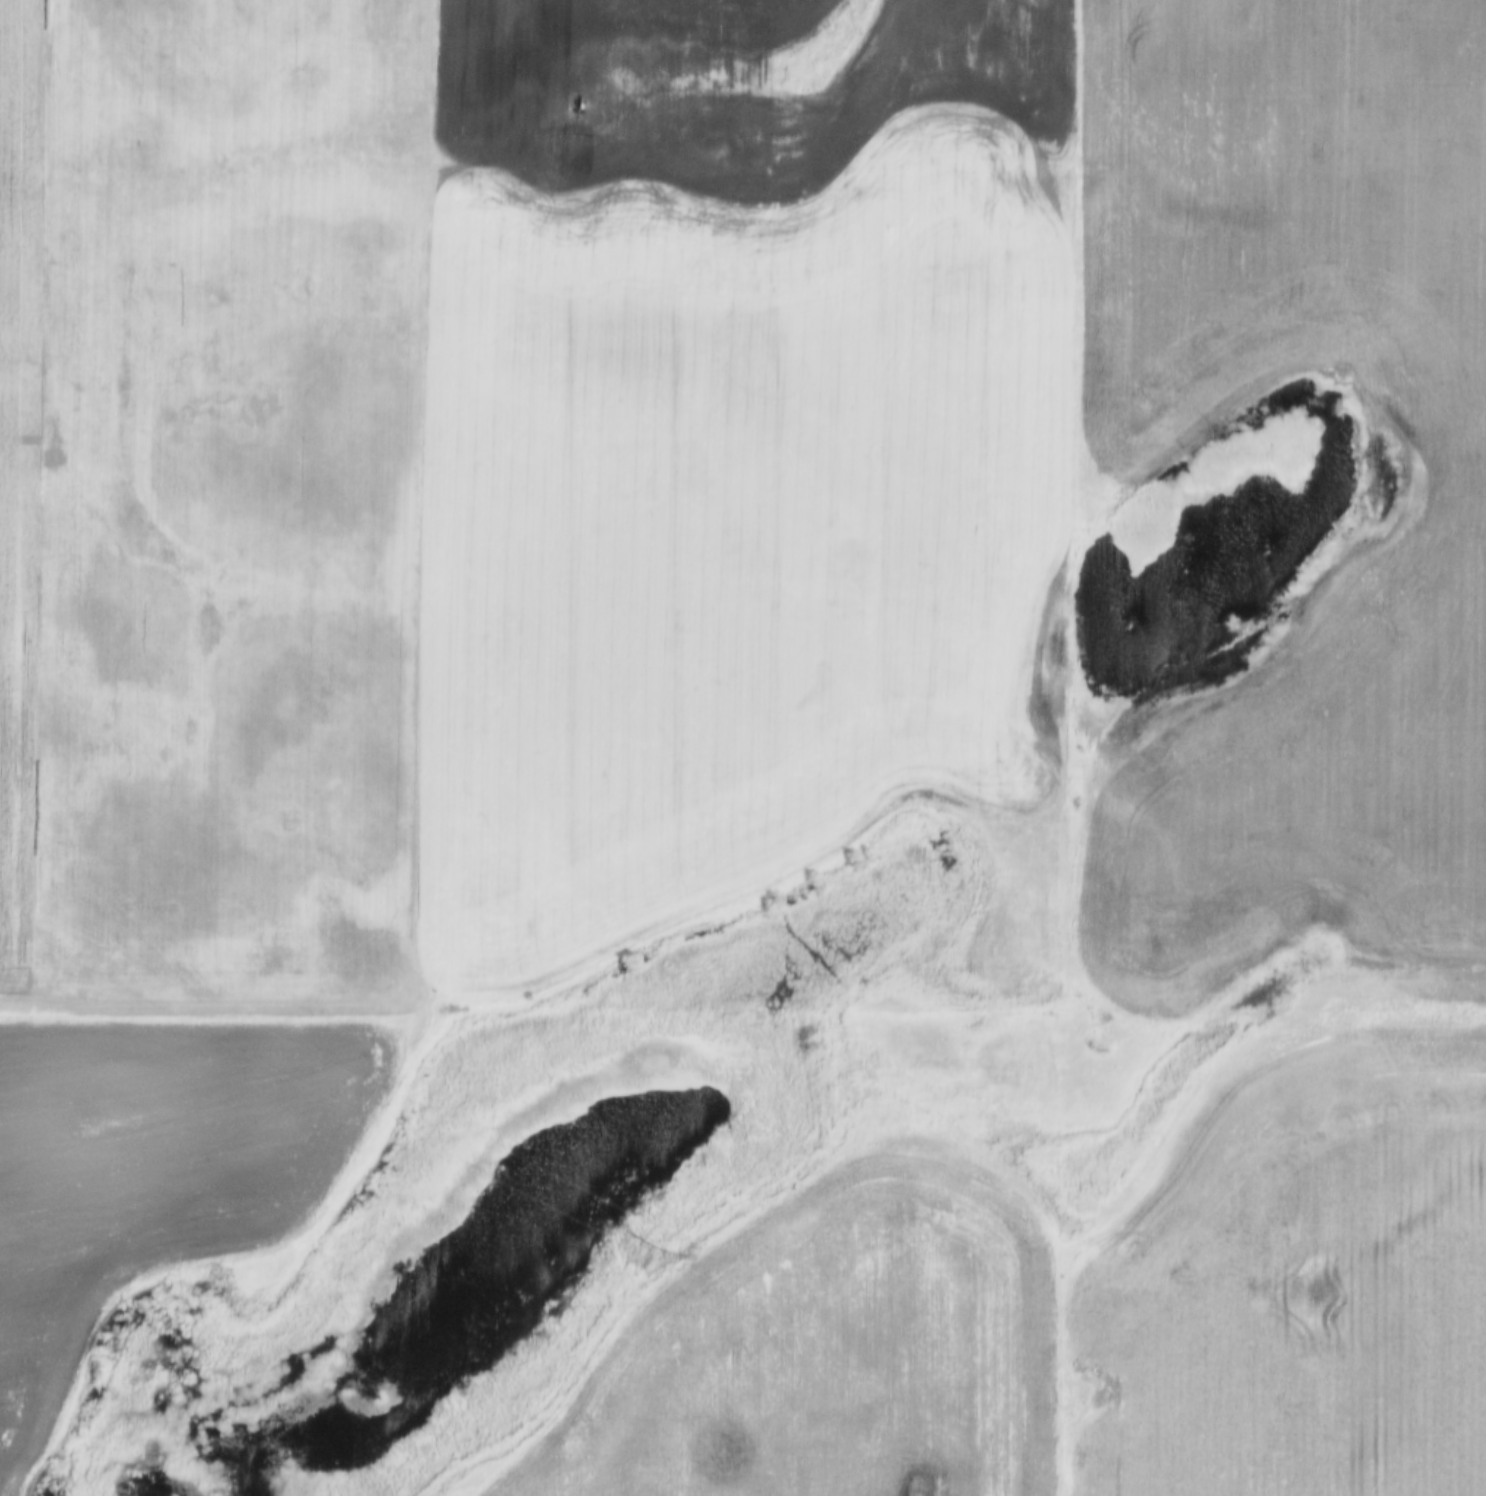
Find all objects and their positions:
power tower: (644, 1255)

